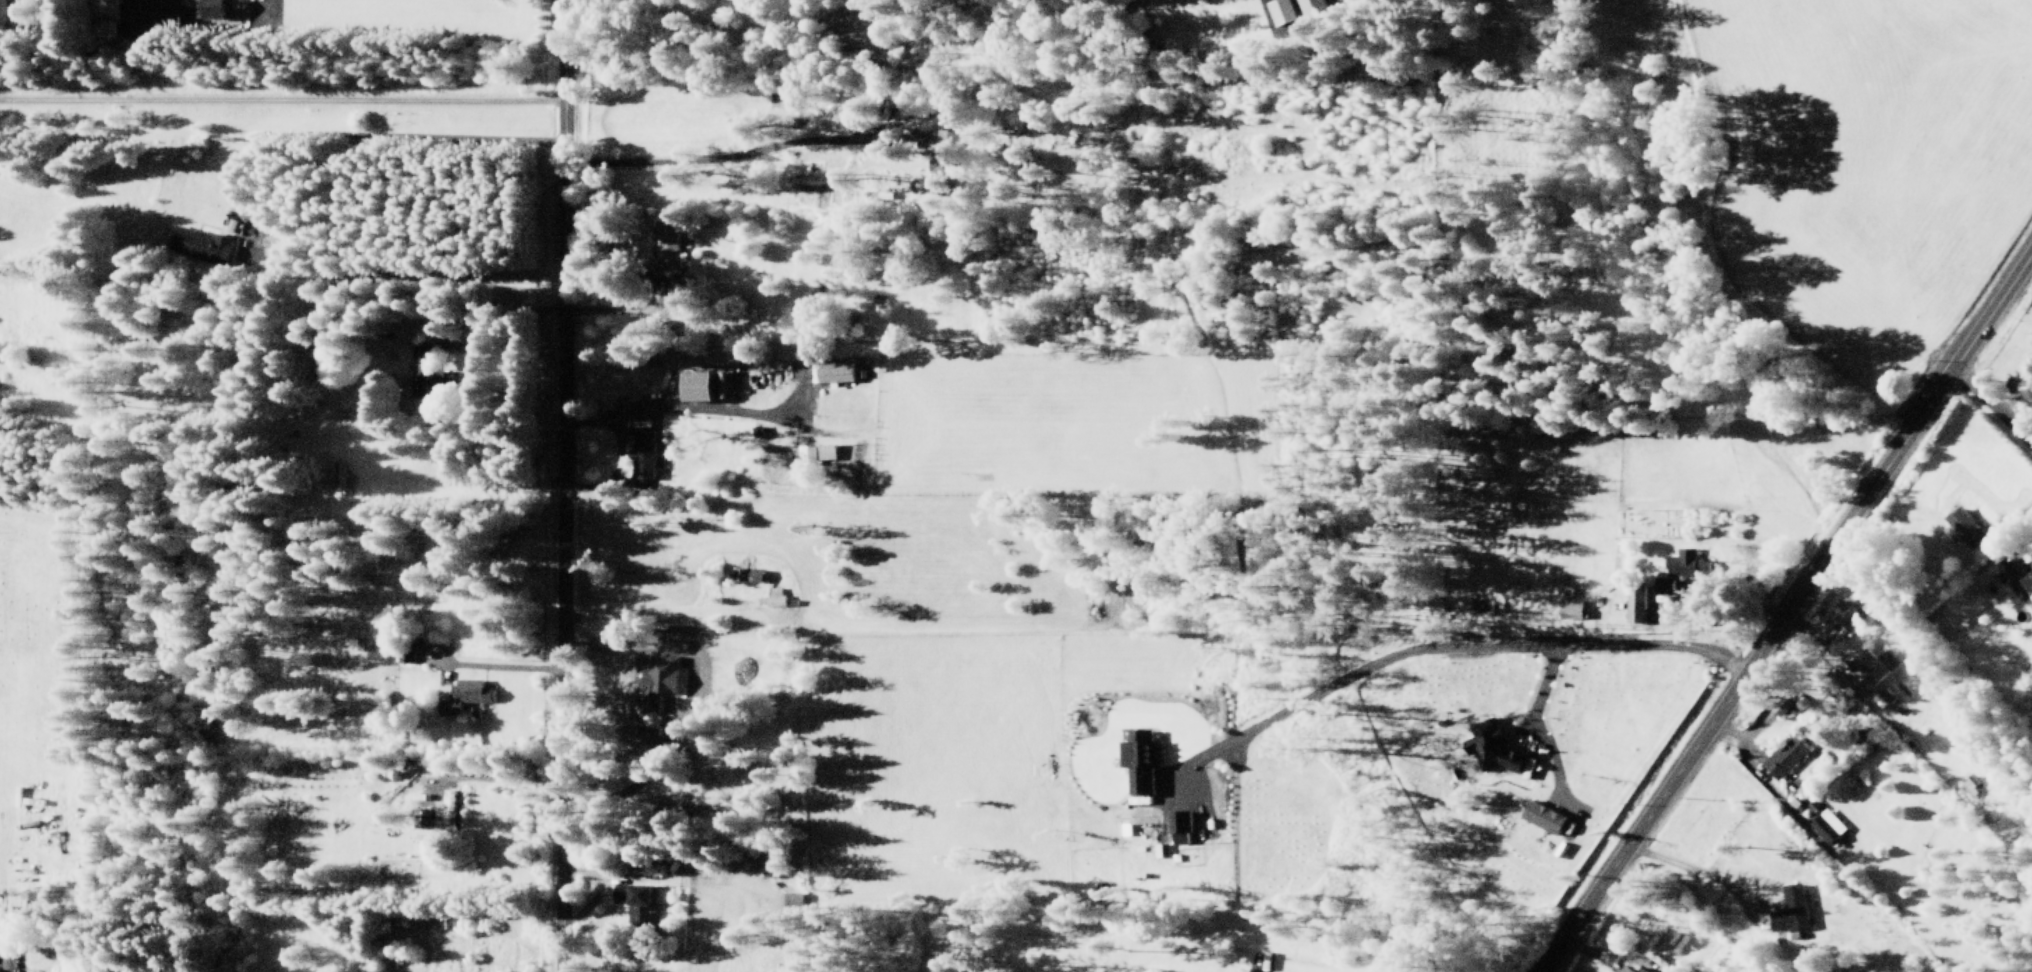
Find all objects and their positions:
building: (1314, 7)
building: (209, 9)
building: (1282, 11)
building: (2, 13)
road: (280, 104)
road: (713, 159)
building: (943, 161)
crop: (1868, 180)
building: (666, 243)
building: (199, 244)
building: (679, 291)
building: (420, 356)
building: (832, 371)
building: (442, 382)
building: (718, 384)
building: (697, 386)
road: (1992, 405)
building: (825, 451)
building: (643, 454)
building: (802, 454)
building: (340, 475)
road: (561, 485)
crop: (1605, 514)
building: (1964, 527)
building: (1682, 568)
building: (746, 573)
building: (2026, 582)
building: (774, 595)
building: (1635, 604)
building: (1571, 608)
road: (1786, 609)
building: (1847, 611)
building: (404, 654)
building: (1873, 666)
building: (657, 680)
road: (1789, 690)
building: (462, 694)
building: (1882, 696)
road: (1899, 721)
building: (1495, 745)
building: (1782, 754)
building: (1141, 758)
road: (1760, 772)
building: (1971, 785)
building: (444, 809)
building: (1545, 816)
building: (422, 822)
building: (1180, 826)
road: (1693, 863)
building: (791, 899)
building: (27, 901)
building: (635, 902)
building: (1789, 910)
road: (1612, 953)
building: (1626, 969)

